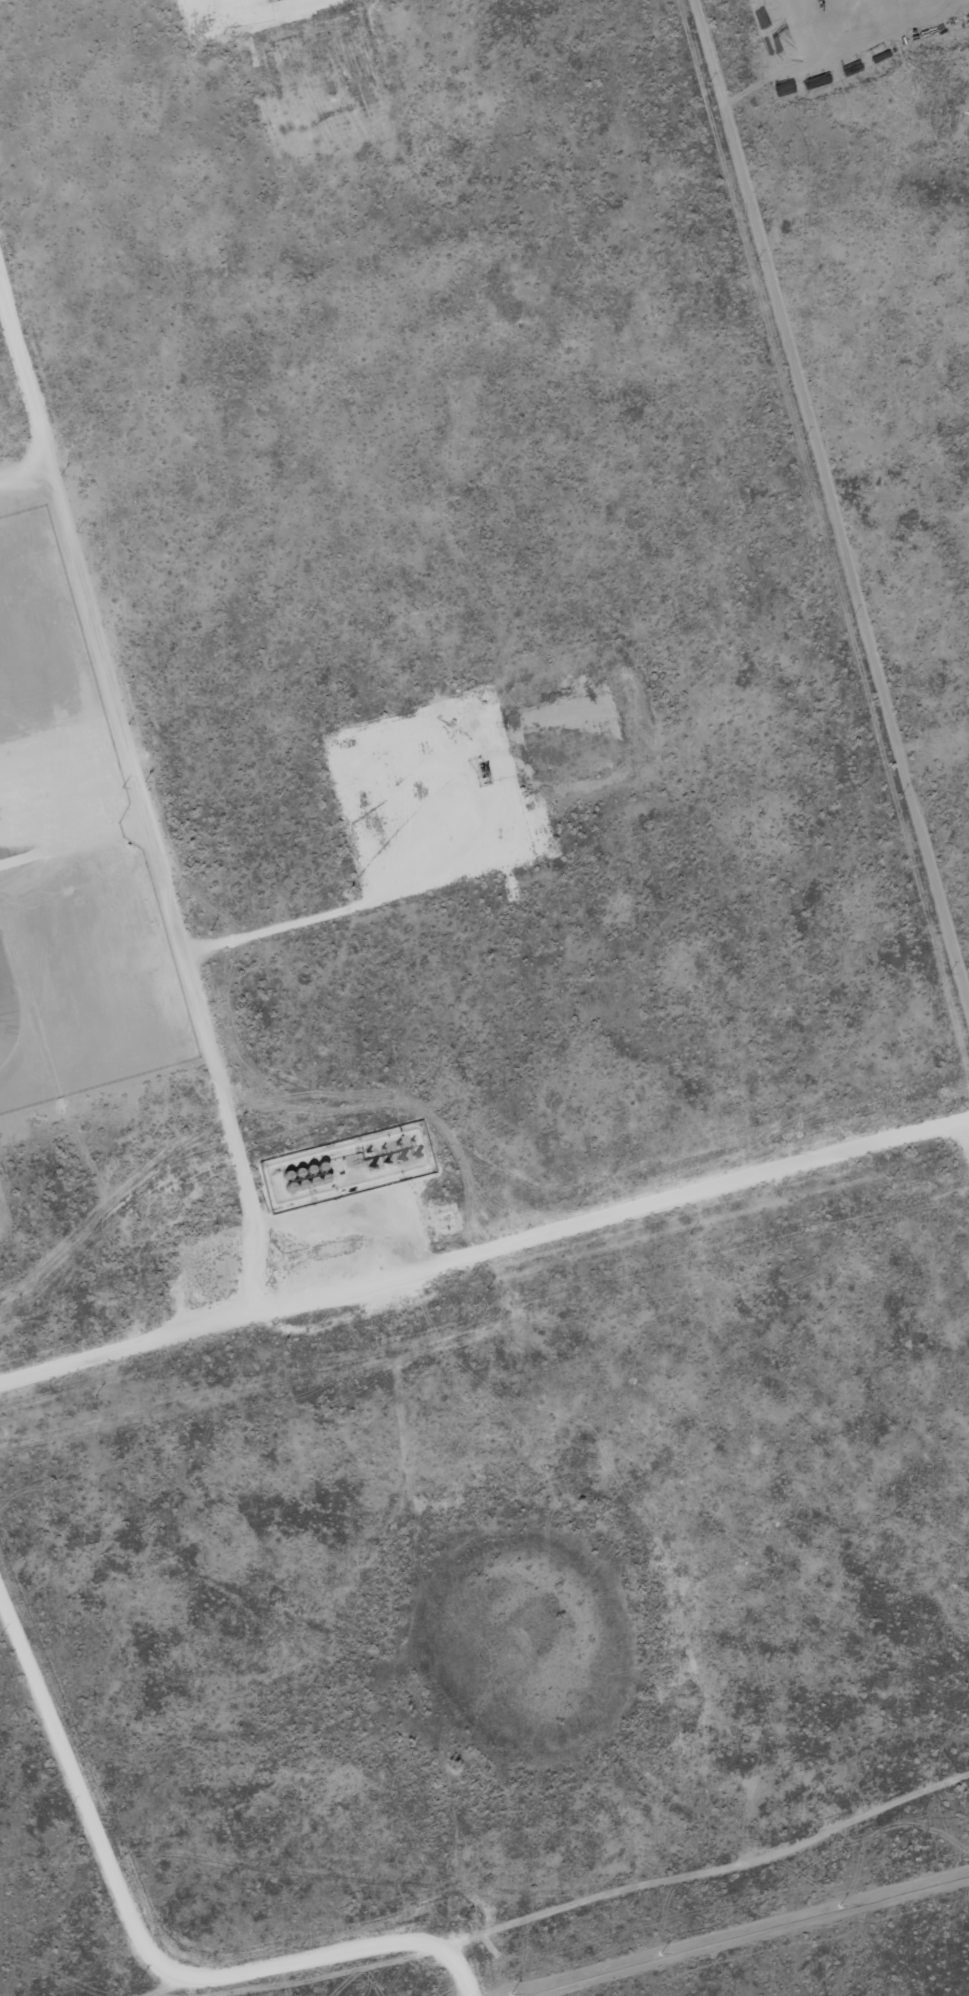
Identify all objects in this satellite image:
road: (791, 1947)

